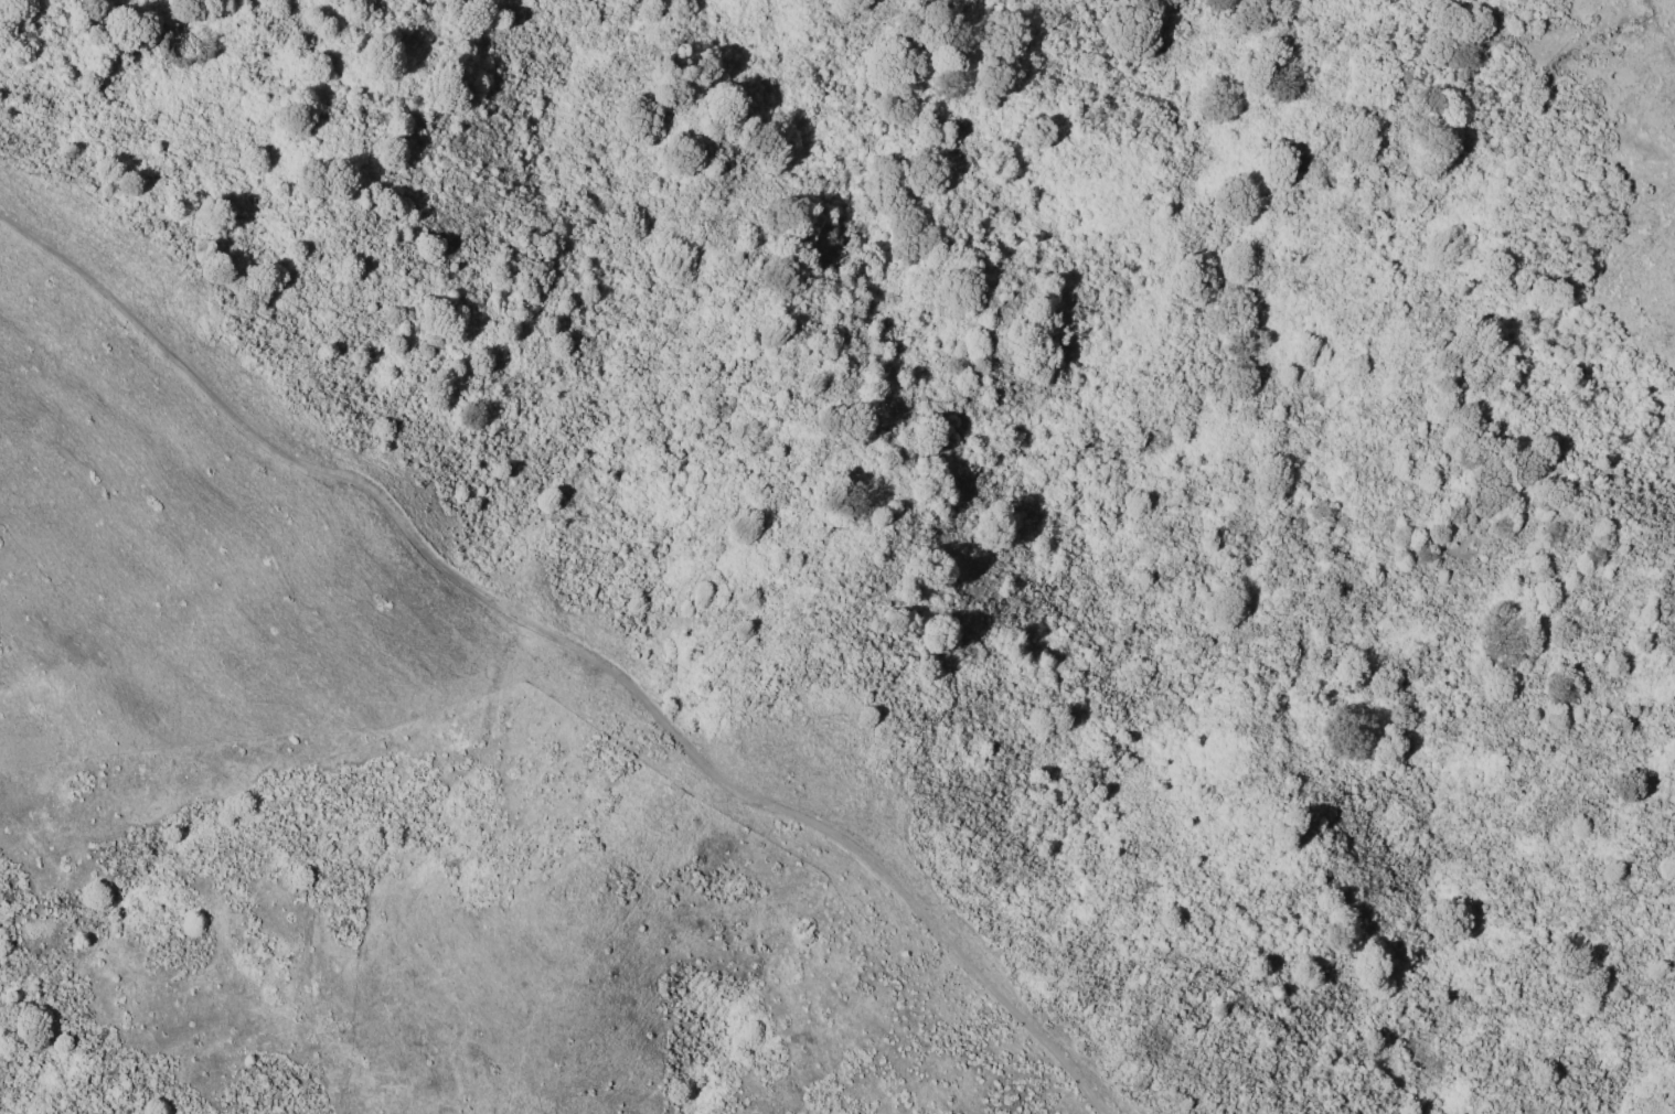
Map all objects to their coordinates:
road: (563, 651)

